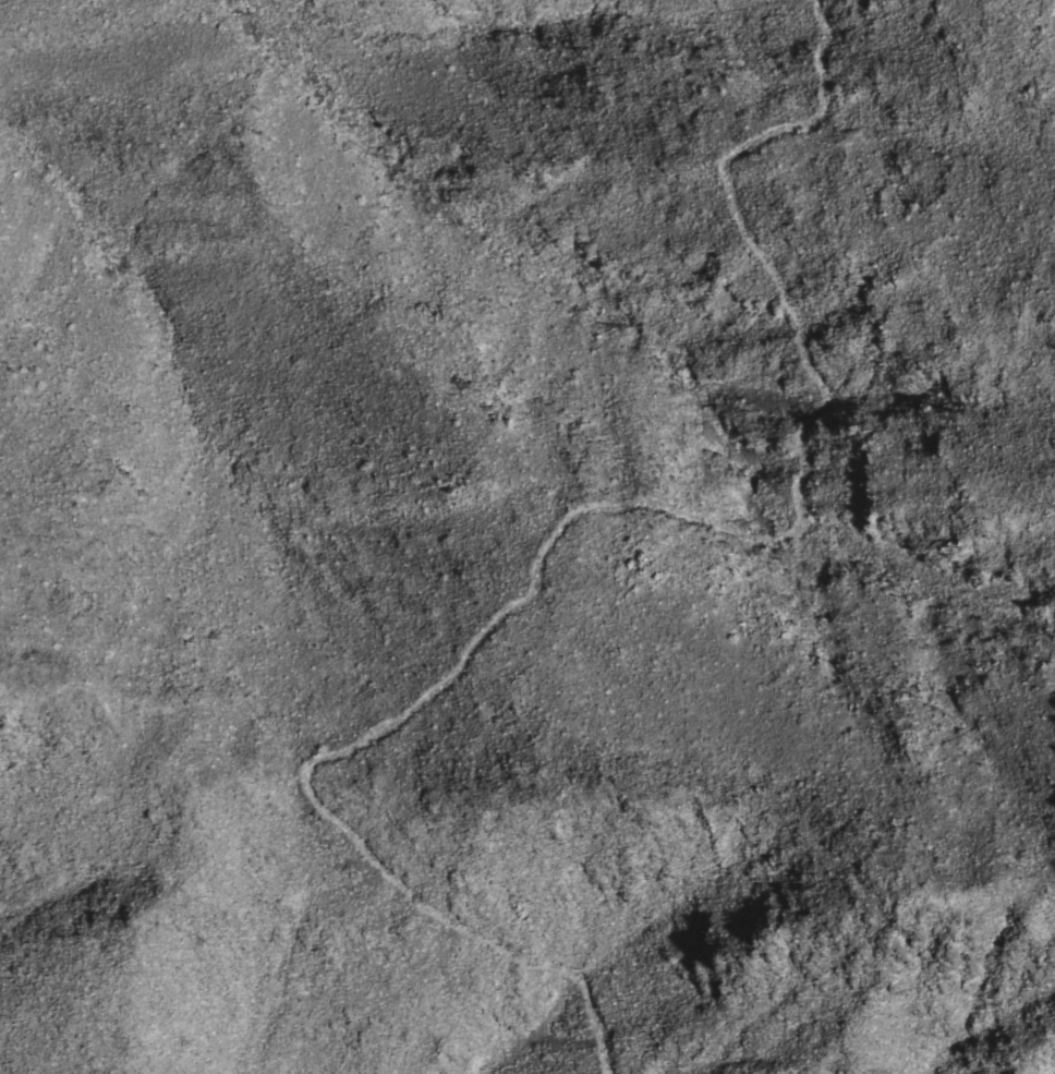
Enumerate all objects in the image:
road: (572, 516)

